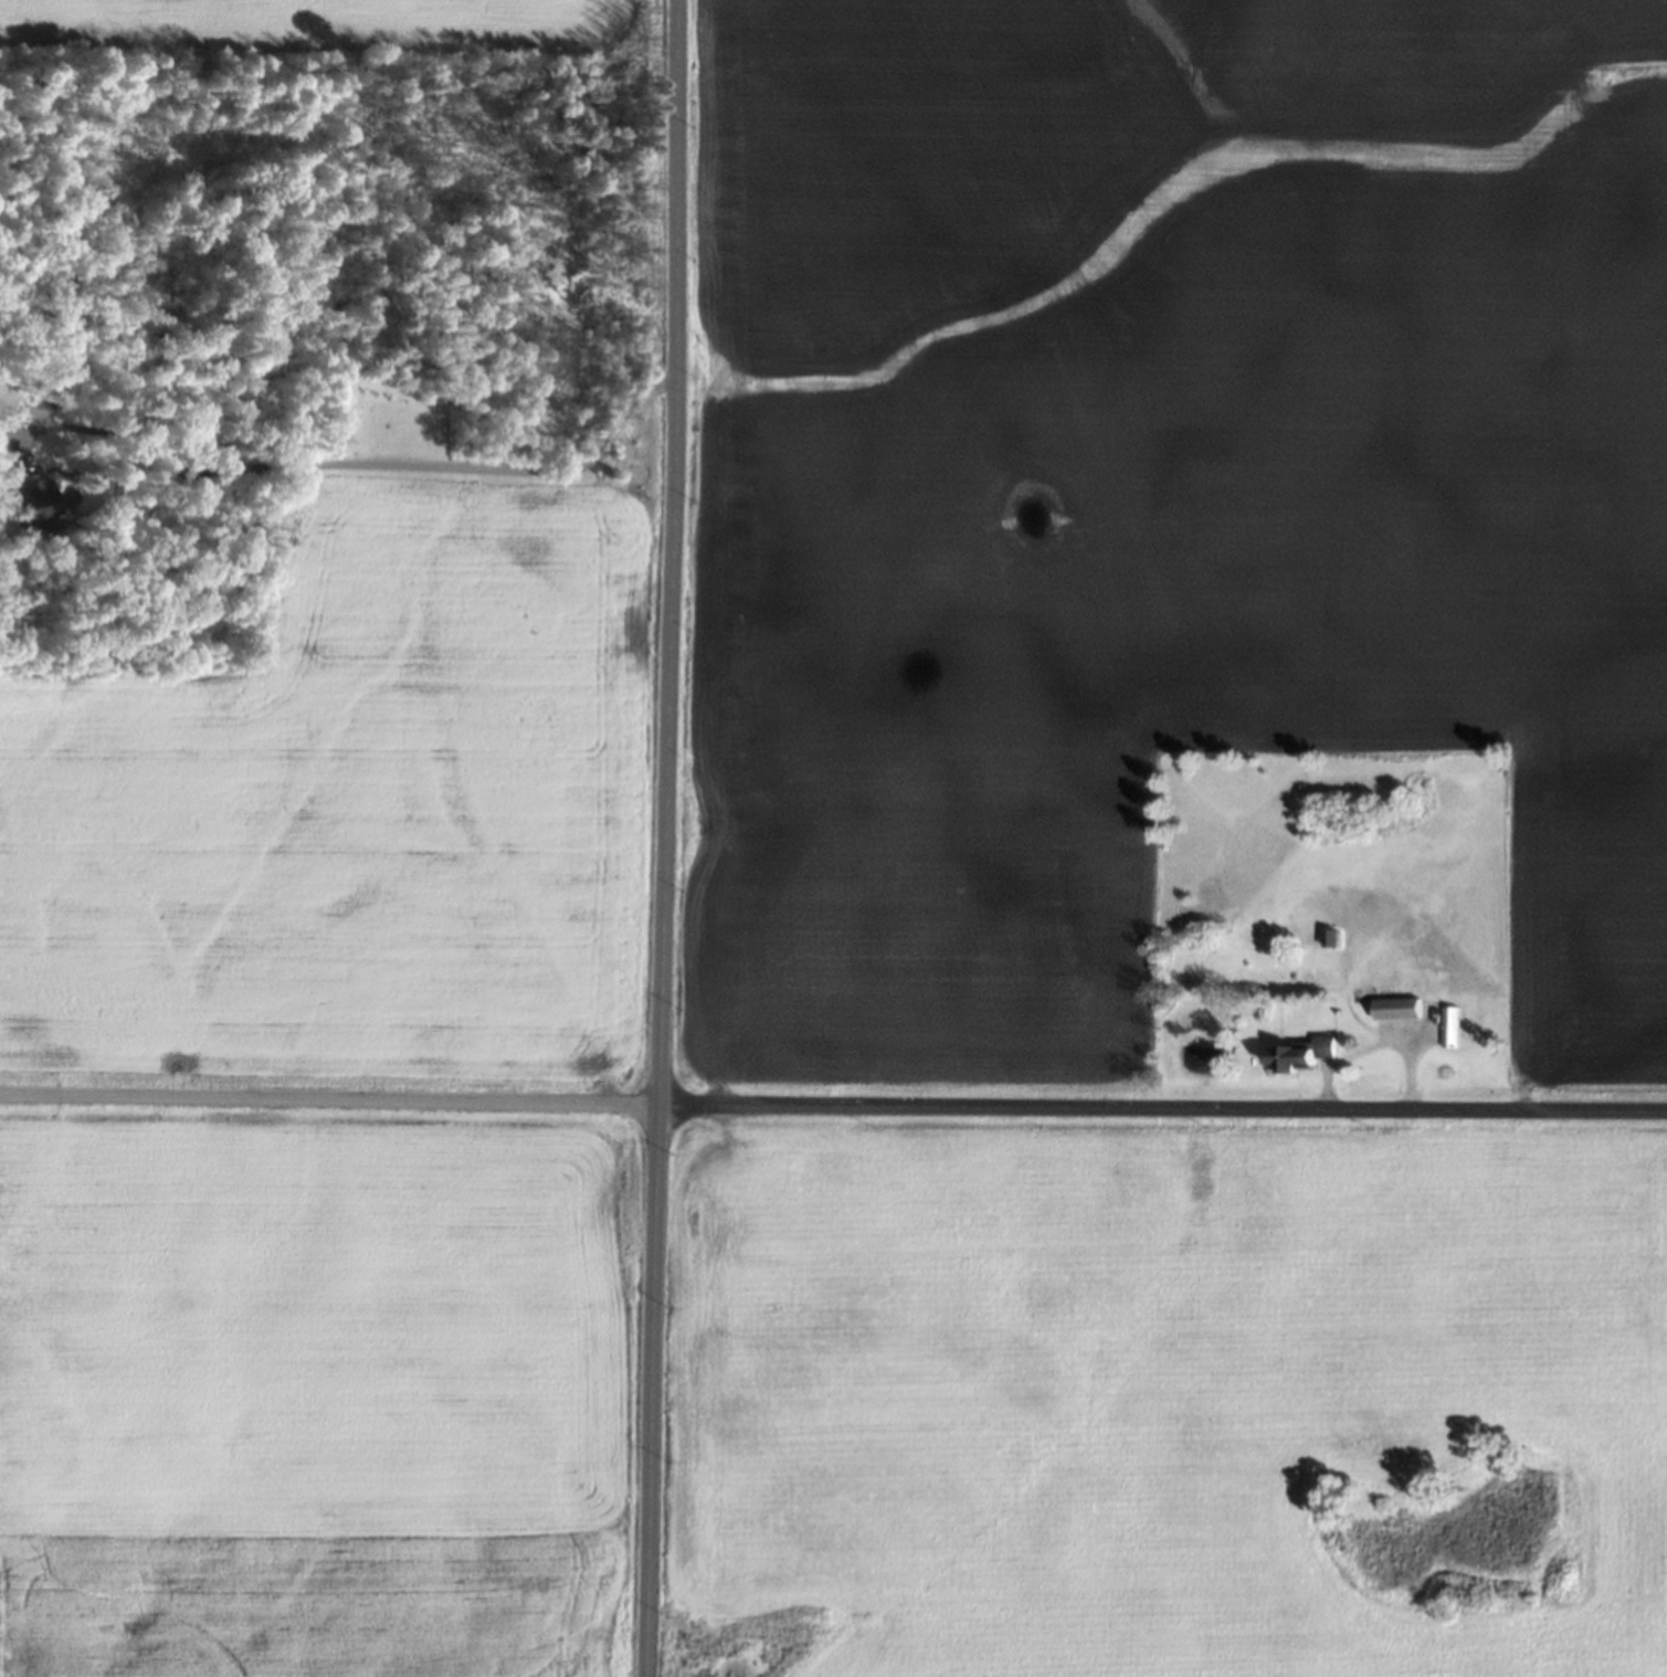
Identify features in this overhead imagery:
road: (409, 457)
road: (668, 838)
building: (1328, 938)
building: (1394, 1009)
building: (1448, 1026)
building: (1293, 1054)
road: (833, 1106)

